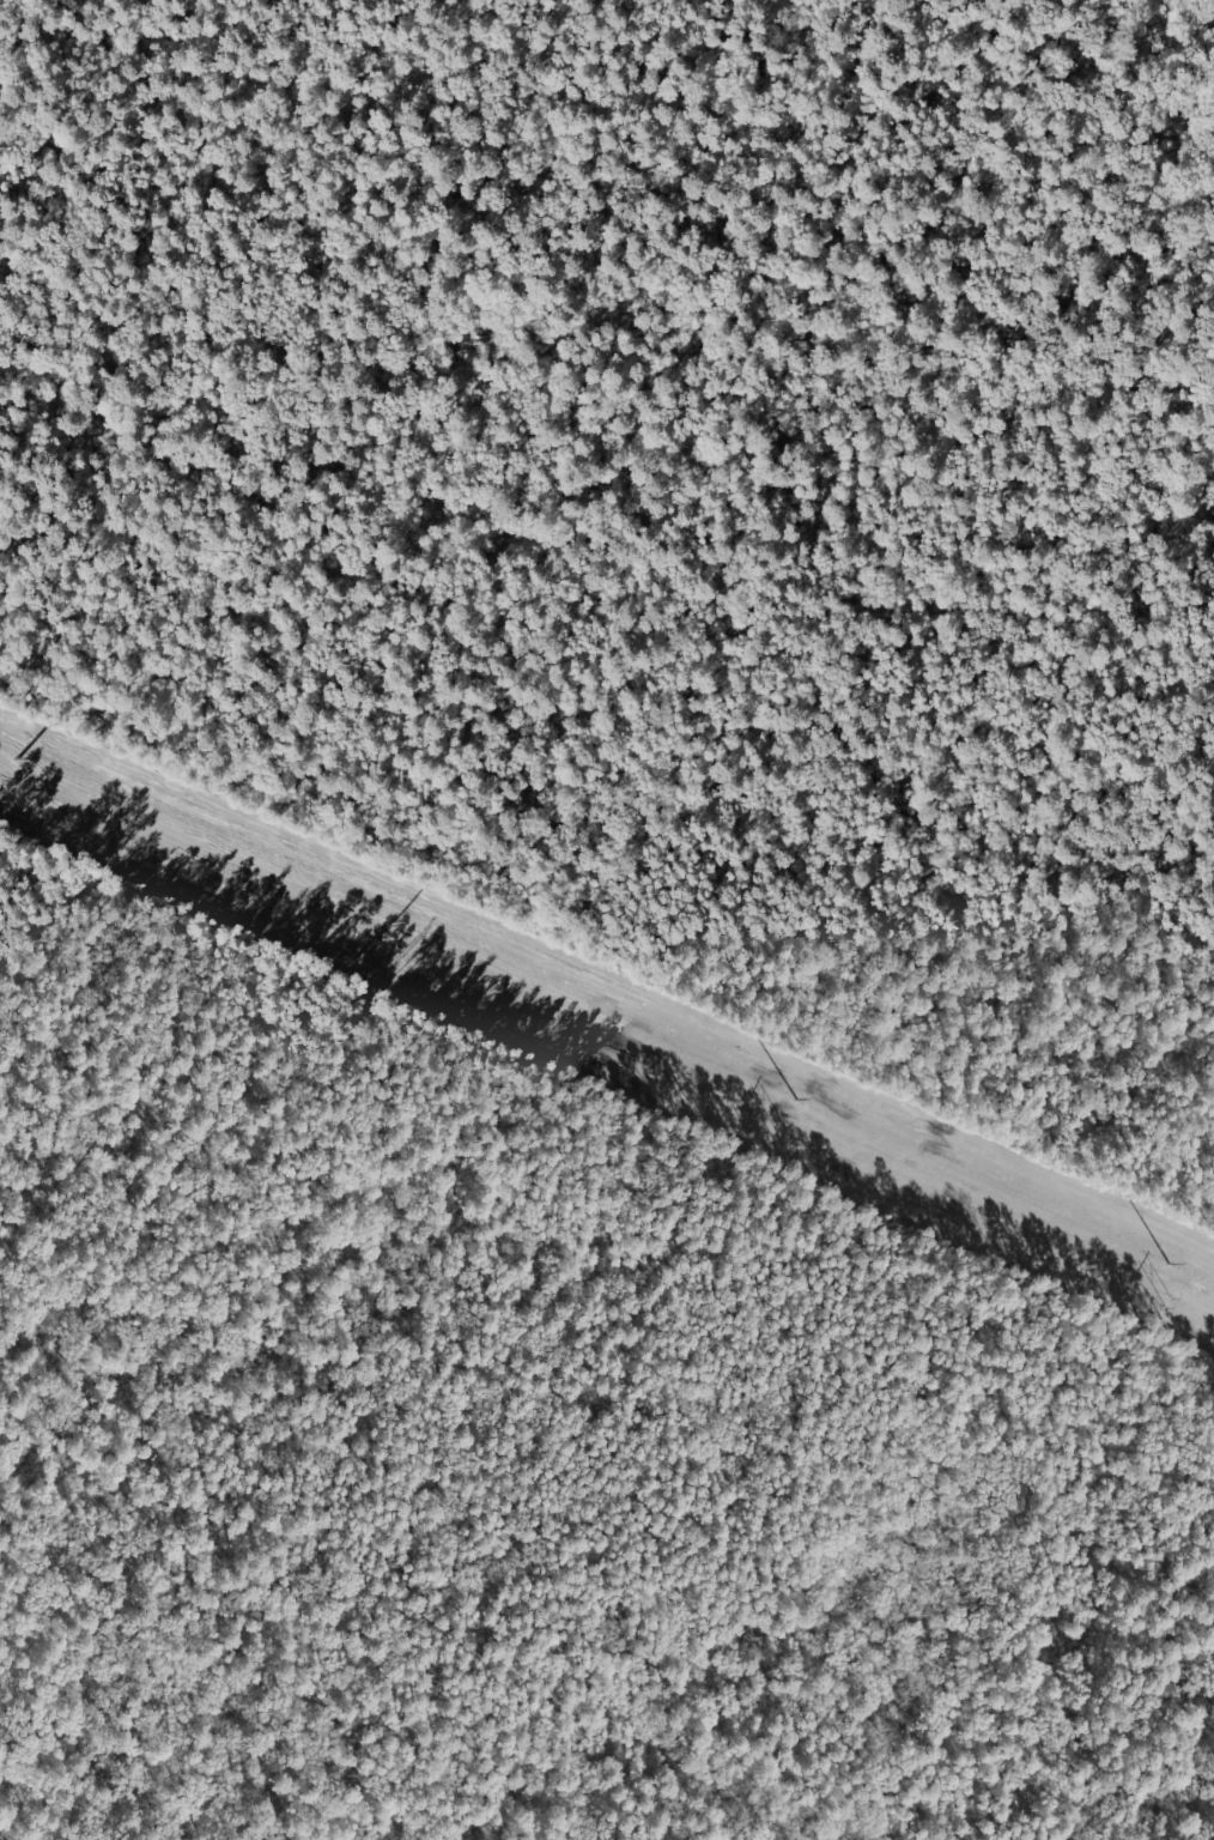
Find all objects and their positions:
power tower: (6, 793)
power tower: (397, 963)
power tower: (784, 1133)
power tower: (1171, 1303)

